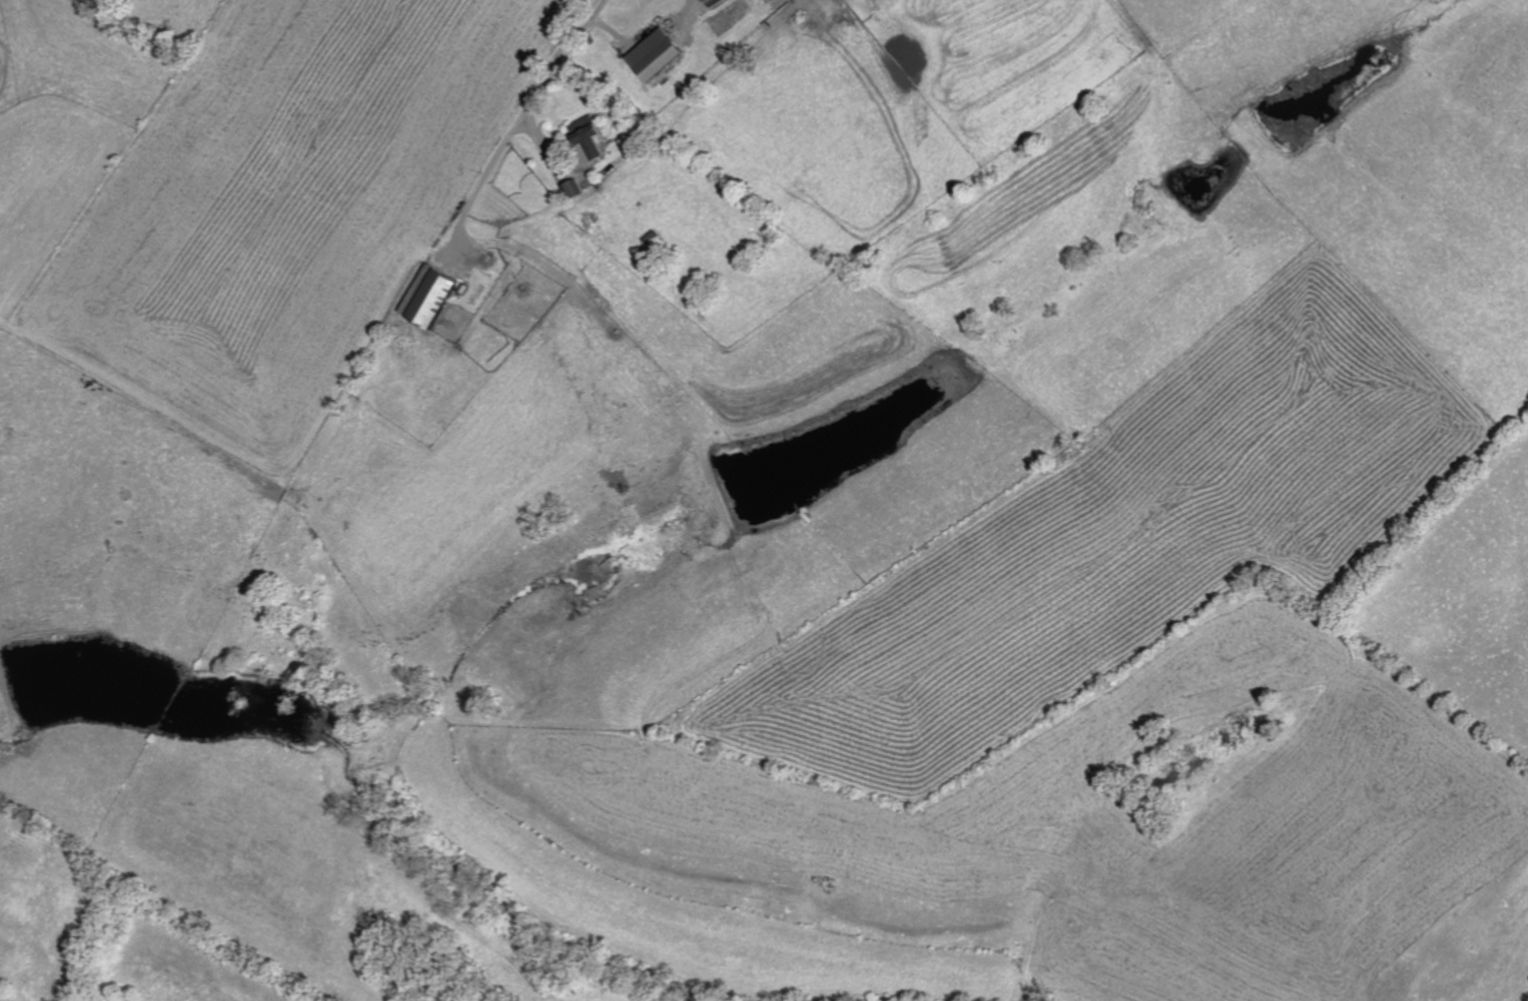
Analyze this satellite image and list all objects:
building: (710, 2)
building: (654, 54)
road: (515, 114)
building: (587, 134)
building: (427, 295)

